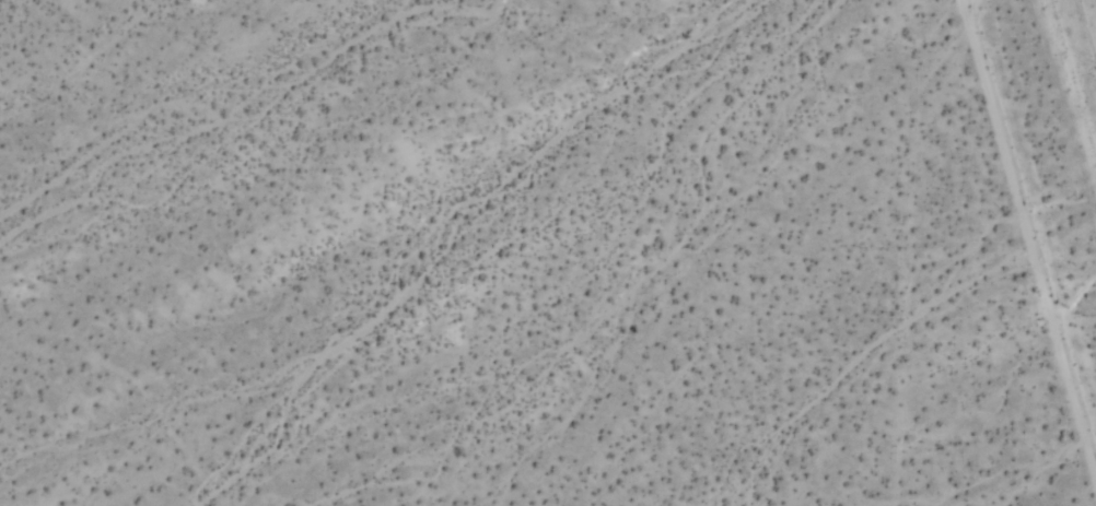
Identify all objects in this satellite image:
road: (1028, 244)

